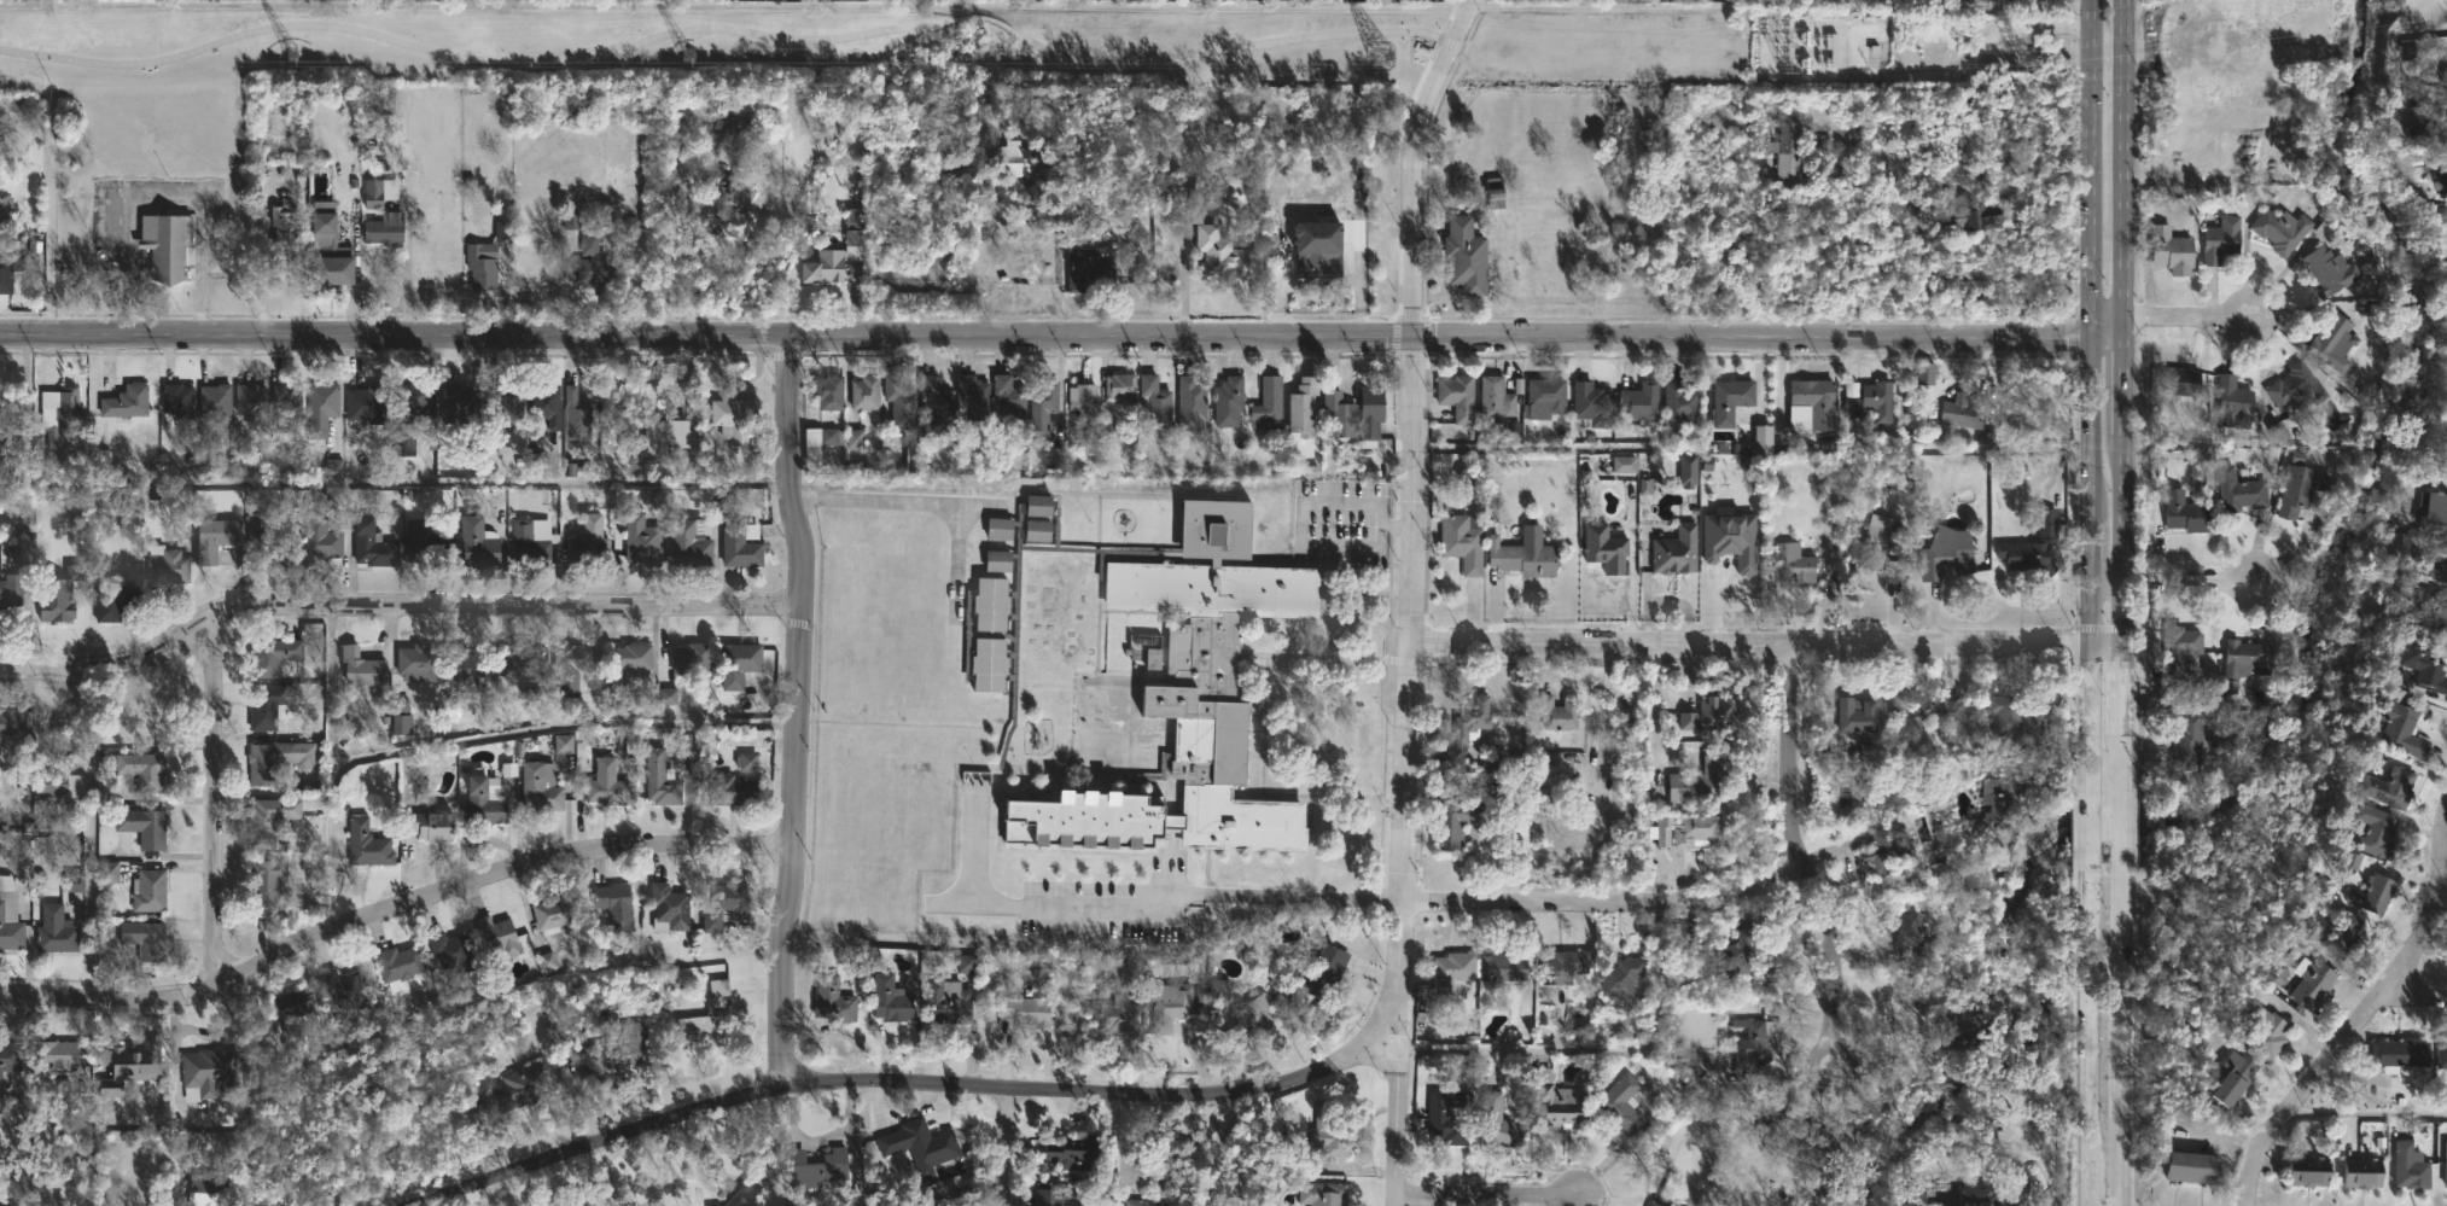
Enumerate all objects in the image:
building: (1865, 0)
road: (728, 25)
power substation: (1823, 48)
building: (2407, 51)
power tower: (291, 53)
power tower: (682, 56)
power tower: (1380, 58)
power tower: (2032, 58)
power tower: (1814, 63)
building: (2443, 75)
building: (2445, 112)
building: (2428, 133)
building: (1788, 152)
building: (1014, 158)
road: (1410, 161)
building: (2442, 180)
road: (1987, 191)
building: (378, 192)
building: (1496, 192)
road: (198, 196)
building: (1222, 205)
building: (718, 210)
building: (2441, 214)
building: (1971, 215)
building: (4, 217)
building: (571, 222)
building: (284, 225)
building: (2283, 228)
road: (1007, 229)
building: (383, 231)
building: (502, 231)
building: (2222, 239)
building: (1216, 241)
building: (165, 244)
building: (328, 250)
building: (2173, 250)
building: (1467, 256)
building: (832, 261)
building: (1322, 261)
building: (592, 262)
road: (406, 263)
building: (480, 268)
building: (1089, 268)
building: (2329, 270)
road: (674, 274)
building: (5, 275)
road: (2189, 319)
road: (706, 333)
road: (1769, 336)
building: (2335, 344)
building: (1924, 373)
building: (2184, 381)
building: (1121, 388)
building: (2299, 389)
building: (829, 394)
building: (866, 394)
building: (1080, 395)
road: (2090, 395)
road: (2121, 395)
building: (1458, 397)
building: (1497, 397)
building: (1544, 397)
building: (973, 398)
building: (1009, 398)
building: (176, 401)
building: (1229, 401)
building: (1639, 401)
building: (126, 402)
building: (215, 402)
building: (250, 402)
building: (1735, 402)
building: (1872, 402)
building: (366, 403)
building: (407, 403)
building: (901, 403)
building: (937, 403)
building: (1155, 403)
building: (1683, 403)
building: (1817, 403)
building: (2235, 403)
building: (456, 404)
building: (546, 404)
building: (1193, 404)
building: (1269, 404)
building: (1592, 404)
building: (68, 406)
building: (284, 406)
building: (503, 406)
building: (321, 408)
building: (1043, 408)
building: (1303, 408)
building: (1370, 410)
building: (1960, 412)
building: (1340, 414)
building: (576, 415)
building: (733, 419)
building: (2277, 432)
building: (11, 436)
building: (665, 437)
building: (853, 438)
building: (1107, 441)
building: (817, 444)
building: (1053, 458)
building: (1624, 464)
building: (333, 467)
building: (1644, 485)
building: (2301, 485)
building: (2242, 490)
road: (878, 505)
building: (2187, 512)
building: (2433, 513)
road: (1300, 535)
building: (212, 538)
building: (530, 538)
building: (22, 540)
building: (319, 540)
building: (1732, 540)
building: (642, 541)
building: (477, 542)
building: (419, 543)
building: (588, 543)
building: (1463, 543)
building: (264, 544)
building: (691, 544)
building: (372, 546)
building: (2034, 546)
building: (740, 547)
building: (1606, 547)
building: (1878, 548)
building: (1674, 552)
building: (1947, 553)
building: (1530, 560)
building: (1793, 561)
building: (2433, 564)
building: (165, 566)
road: (2107, 577)
road: (2186, 578)
road: (391, 595)
building: (8, 598)
building: (112, 601)
building: (56, 610)
building: (2431, 613)
building: (1142, 645)
road: (1767, 646)
building: (2180, 649)
building: (272, 657)
building: (1152, 658)
building: (2243, 659)
building: (520, 660)
building: (692, 660)
building: (418, 663)
building: (739, 663)
road: (1411, 665)
building: (462, 666)
building: (625, 666)
building: (361, 668)
building: (570, 668)
building: (2426, 669)
building: (1021, 675)
building: (2230, 686)
building: (666, 697)
building: (267, 706)
road: (797, 710)
building: (1941, 711)
building: (1560, 713)
building: (1709, 715)
building: (141, 716)
building: (400, 717)
building: (1859, 717)
building: (2012, 718)
building: (12, 722)
road: (563, 726)
building: (1469, 727)
building: (2407, 730)
building: (683, 741)
building: (2189, 742)
building: (563, 744)
building: (268, 761)
road: (332, 762)
building: (746, 762)
building: (140, 770)
building: (658, 780)
building: (1703, 783)
building: (60, 786)
building: (606, 786)
building: (540, 787)
building: (2391, 787)
building: (2003, 790)
building: (732, 791)
road: (211, 799)
building: (483, 804)
building: (268, 818)
building: (1458, 822)
building: (431, 826)
building: (148, 828)
building: (1688, 832)
road: (92, 833)
road: (2086, 833)
road: (2120, 833)
building: (2382, 834)
building: (367, 846)
building: (1889, 847)
road: (1801, 860)
building: (109, 872)
road: (2440, 880)
building: (266, 881)
building: (74, 882)
road: (1218, 886)
building: (2381, 891)
building: (148, 892)
building: (614, 904)
building: (727, 904)
road: (1606, 905)
road: (392, 908)
building: (670, 908)
building: (554, 910)
building: (10, 920)
building: (2346, 930)
building: (54, 931)
building: (1907, 931)
building: (497, 934)
building: (146, 940)
building: (1738, 949)
building: (451, 951)
building: (547, 961)
building: (965, 963)
building: (398, 965)
building: (1567, 965)
building: (1507, 967)
building: (1324, 971)
building: (1769, 974)
building: (1450, 975)
building: (2277, 977)
building: (1618, 979)
building: (2313, 984)
building: (1219, 987)
building: (342, 991)
building: (890, 996)
building: (833, 1000)
road: (2412, 1000)
building: (948, 1001)
building: (1171, 1004)
building: (1027, 1009)
building: (292, 1010)
building: (1114, 1013)
building: (1254, 1018)
building: (1946, 1021)
road: (2358, 1025)
building: (2268, 1029)
building: (700, 1030)
road: (2085, 1041)
road: (2119, 1042)
building: (1753, 1045)
building: (621, 1049)
building: (2442, 1051)
building: (2402, 1053)
building: (52, 1056)
building: (6, 1058)
building: (130, 1066)
building: (205, 1072)
building: (2236, 1079)
road: (910, 1082)
building: (523, 1088)
road: (1397, 1101)
building: (1558, 1101)
building: (1622, 1102)
building: (1449, 1115)
road: (2369, 1115)
building: (1498, 1121)
building: (1330, 1126)
building: (1799, 1137)
building: (920, 1143)
road: (1002, 1146)
building: (1067, 1148)
building: (2192, 1165)
building: (2445, 1165)
building: (2411, 1166)
building: (817, 1167)
building: (954, 1167)
building: (2309, 1170)
building: (2364, 1171)
building: (204, 1179)
building: (755, 1183)
building: (1323, 1194)
road: (1487, 1194)
building: (1055, 1196)
building: (1981, 1196)
building: (1152, 1202)
building: (909, 1204)
building: (1655, 1204)
building: (6, 1205)

